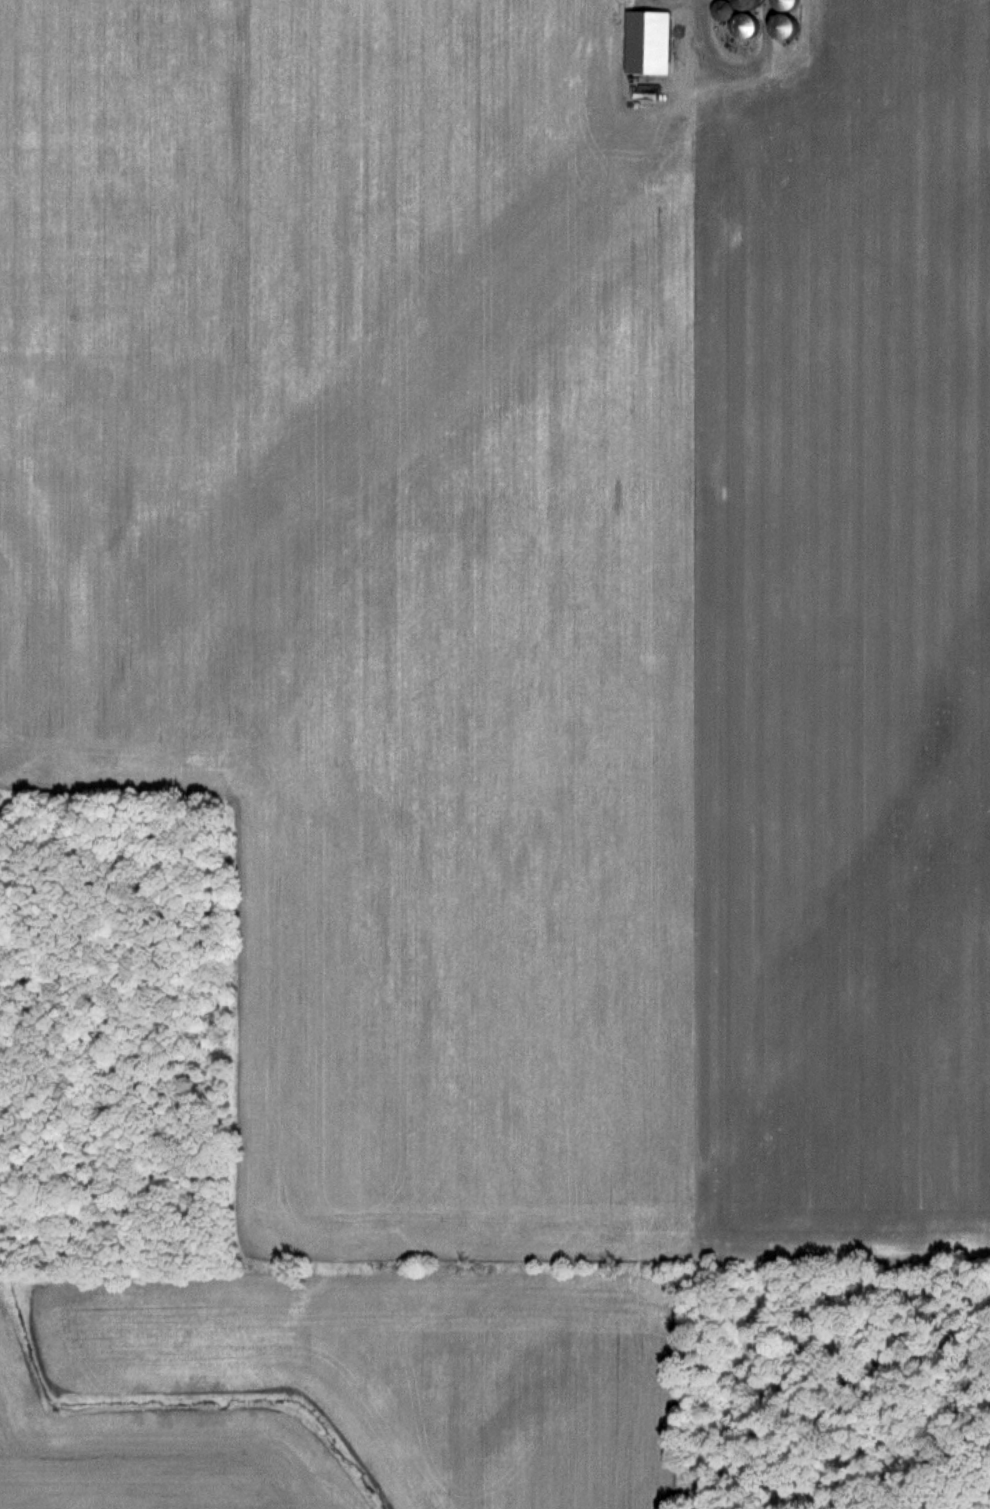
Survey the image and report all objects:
building: (753, 3)
building: (754, 25)
building: (791, 26)

